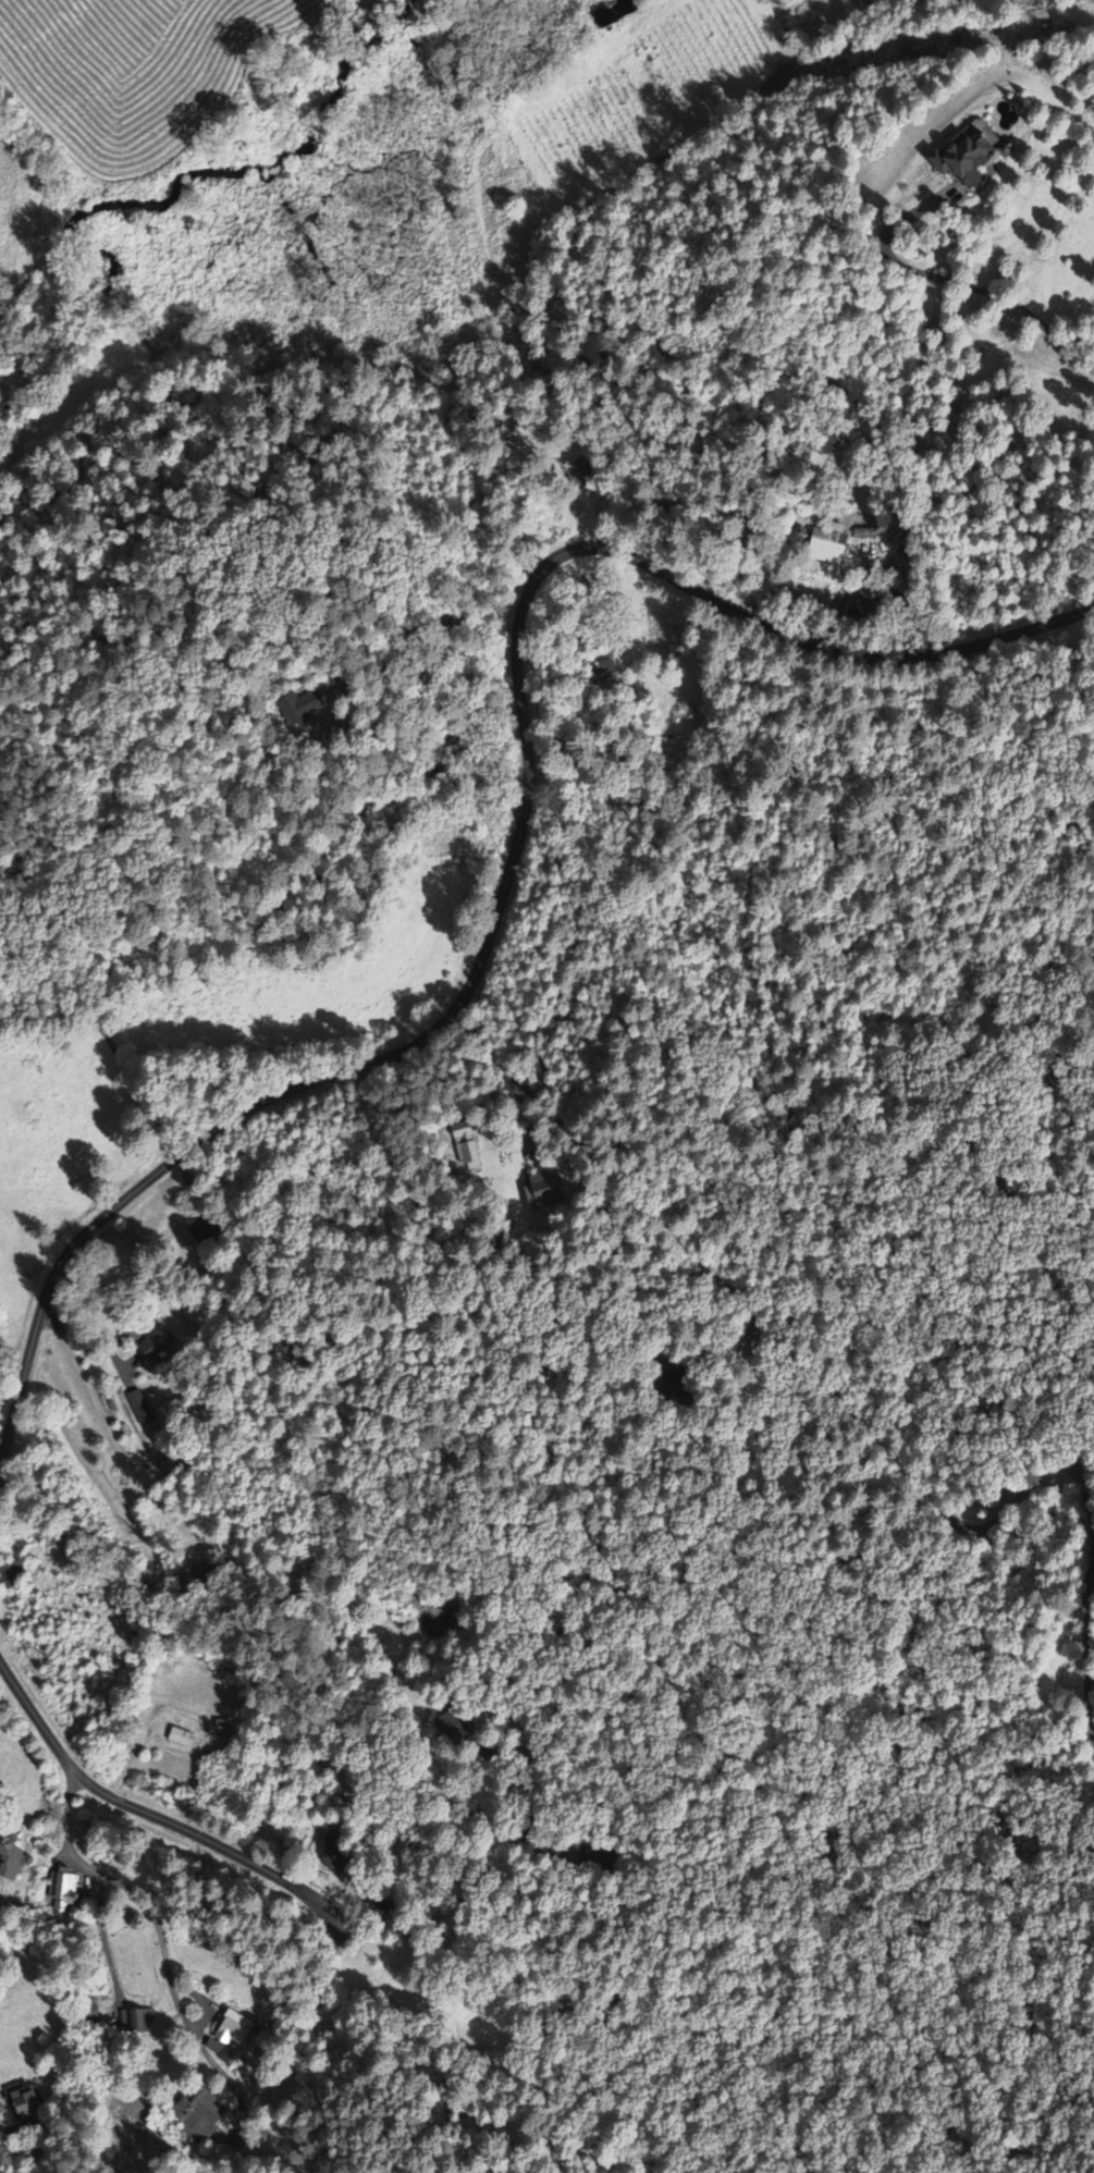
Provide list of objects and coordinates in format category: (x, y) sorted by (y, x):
building: (962, 152)
building: (828, 544)
building: (303, 708)
road: (520, 837)
building: (469, 1157)
road: (610, 1170)
road: (936, 1501)
road: (1085, 1657)
building: (179, 1739)
road: (222, 1845)
building: (10, 1859)
building: (64, 1893)
building: (138, 2023)
building: (231, 2033)
building: (20, 2106)
building: (198, 2116)
road: (7, 2140)
road: (21, 2161)

